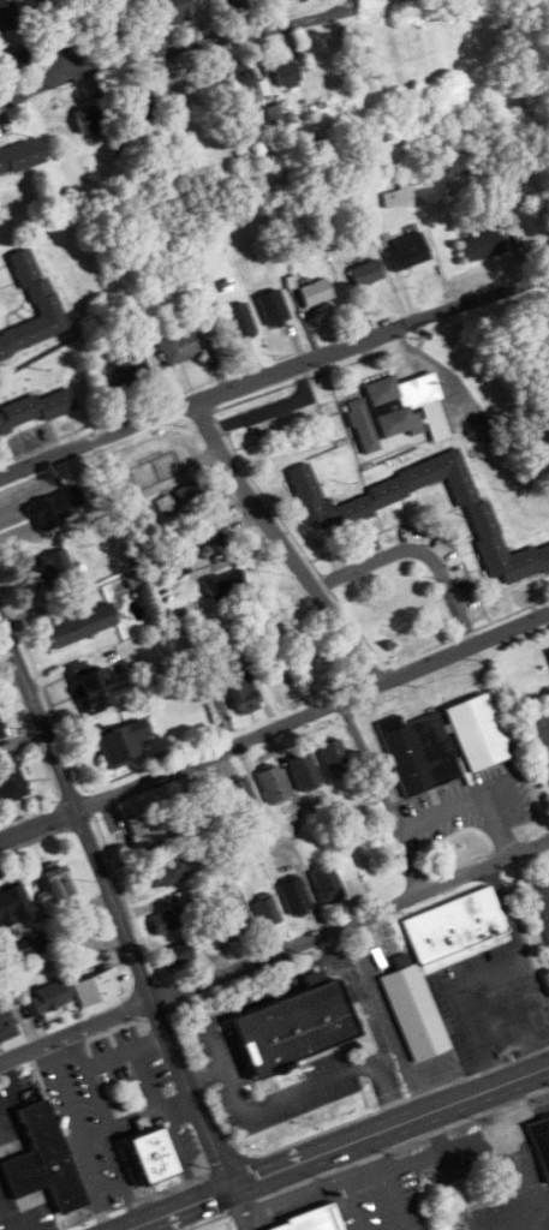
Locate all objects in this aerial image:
building: (179, 11)
building: (8, 16)
road: (58, 35)
road: (174, 46)
building: (17, 61)
building: (287, 72)
building: (235, 88)
building: (141, 105)
building: (274, 117)
building: (88, 119)
building: (20, 156)
building: (396, 196)
building: (482, 246)
building: (407, 252)
building: (366, 273)
building: (316, 293)
building: (274, 307)
building: (35, 311)
building: (240, 321)
building: (178, 347)
building: (125, 372)
road: (274, 374)
building: (389, 410)
building: (36, 411)
building: (487, 429)
building: (180, 498)
building: (333, 515)
building: (207, 532)
road: (285, 545)
road: (418, 551)
building: (225, 585)
building: (82, 626)
road: (7, 646)
building: (99, 689)
building: (243, 693)
road: (275, 728)
building: (1, 732)
building: (478, 733)
building: (121, 742)
building: (420, 753)
building: (335, 759)
building: (305, 772)
building: (12, 780)
building: (273, 784)
road: (383, 794)
building: (241, 799)
road: (472, 802)
building: (147, 828)
building: (166, 870)
road: (548, 872)
road: (548, 876)
building: (327, 882)
building: (54, 885)
building: (294, 896)
road: (115, 898)
building: (13, 904)
building: (267, 913)
road: (508, 914)
building: (167, 920)
building: (238, 925)
road: (330, 943)
road: (274, 950)
building: (178, 954)
building: (440, 963)
road: (478, 973)
building: (96, 987)
building: (46, 999)
road: (246, 999)
building: (6, 1025)
building: (296, 1029)
road: (153, 1041)
road: (137, 1053)
road: (13, 1089)
road: (298, 1092)
road: (83, 1136)
road: (95, 1136)
building: (542, 1144)
road: (111, 1146)
road: (339, 1147)
road: (179, 1156)
building: (150, 1158)
building: (44, 1160)
road: (239, 1210)
road: (6, 1212)
building: (315, 1219)

